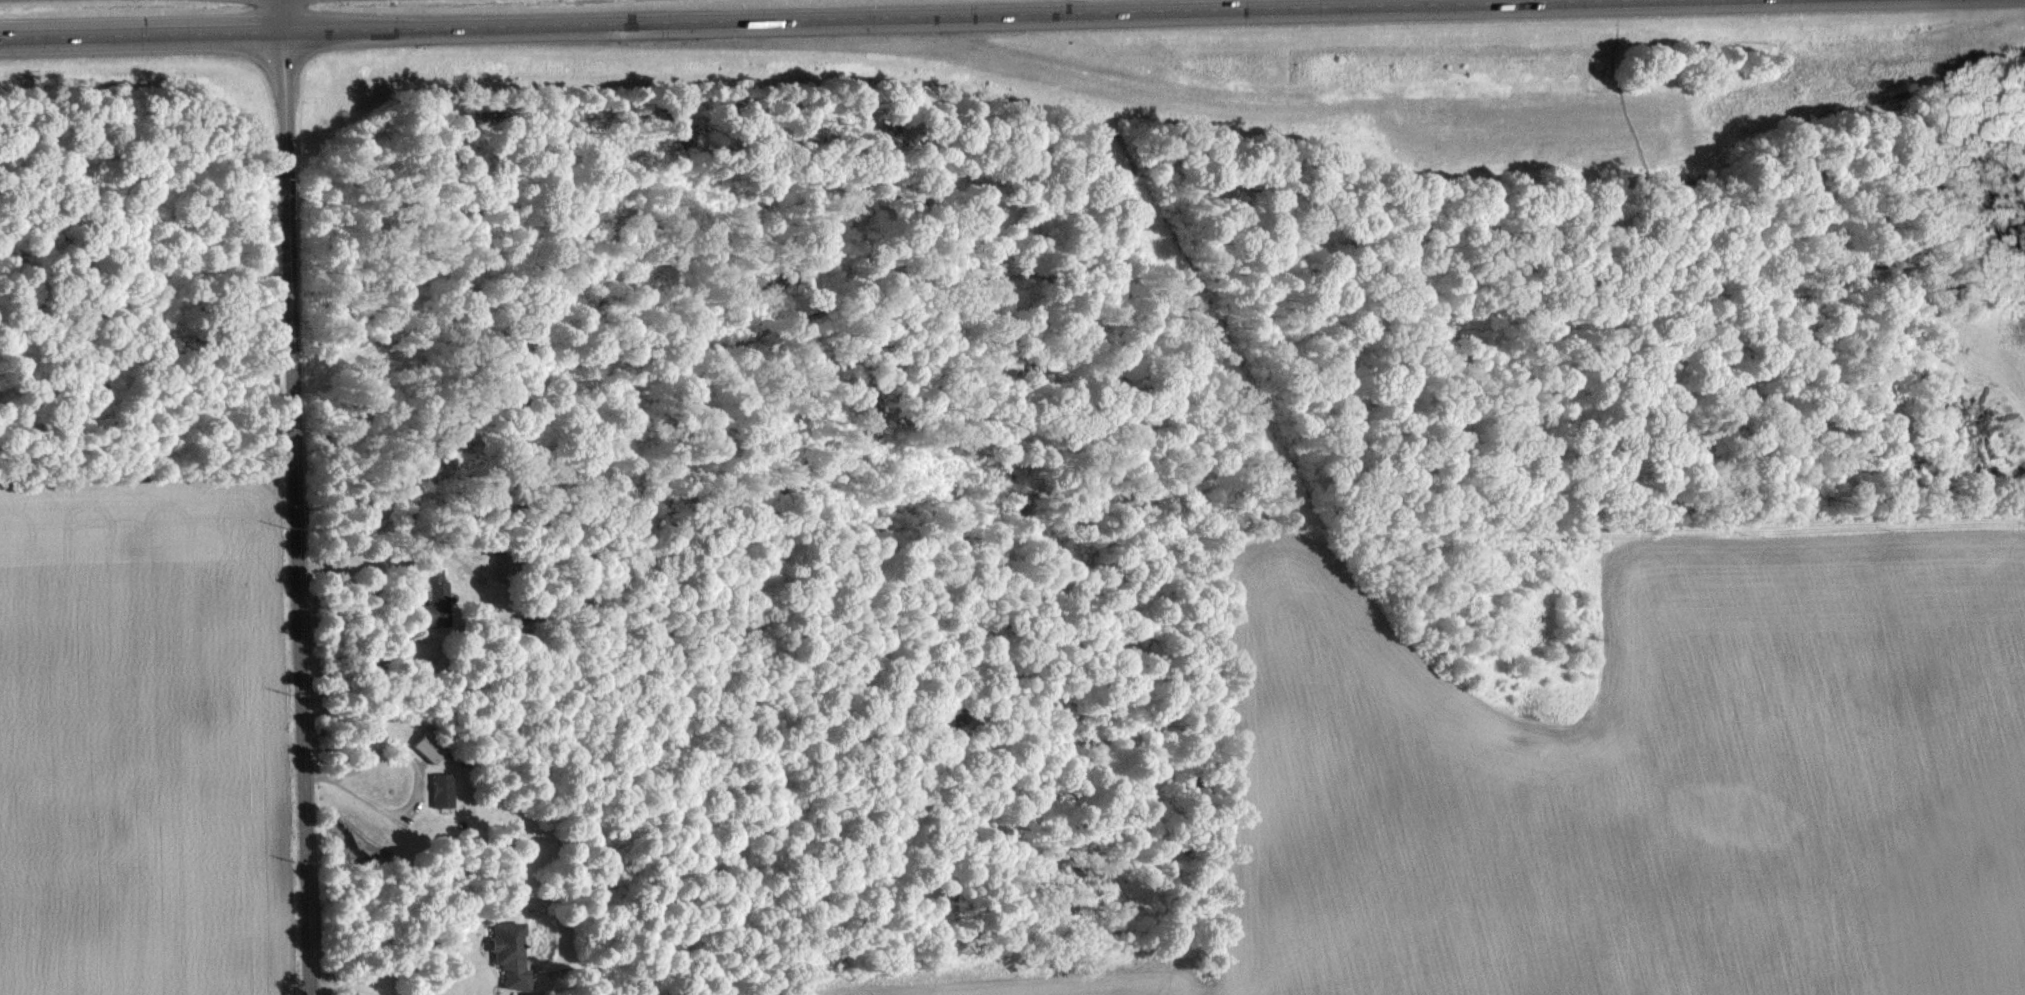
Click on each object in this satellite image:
road: (758, 18)
road: (296, 497)
building: (434, 595)
building: (429, 746)
building: (442, 790)
building: (510, 954)

